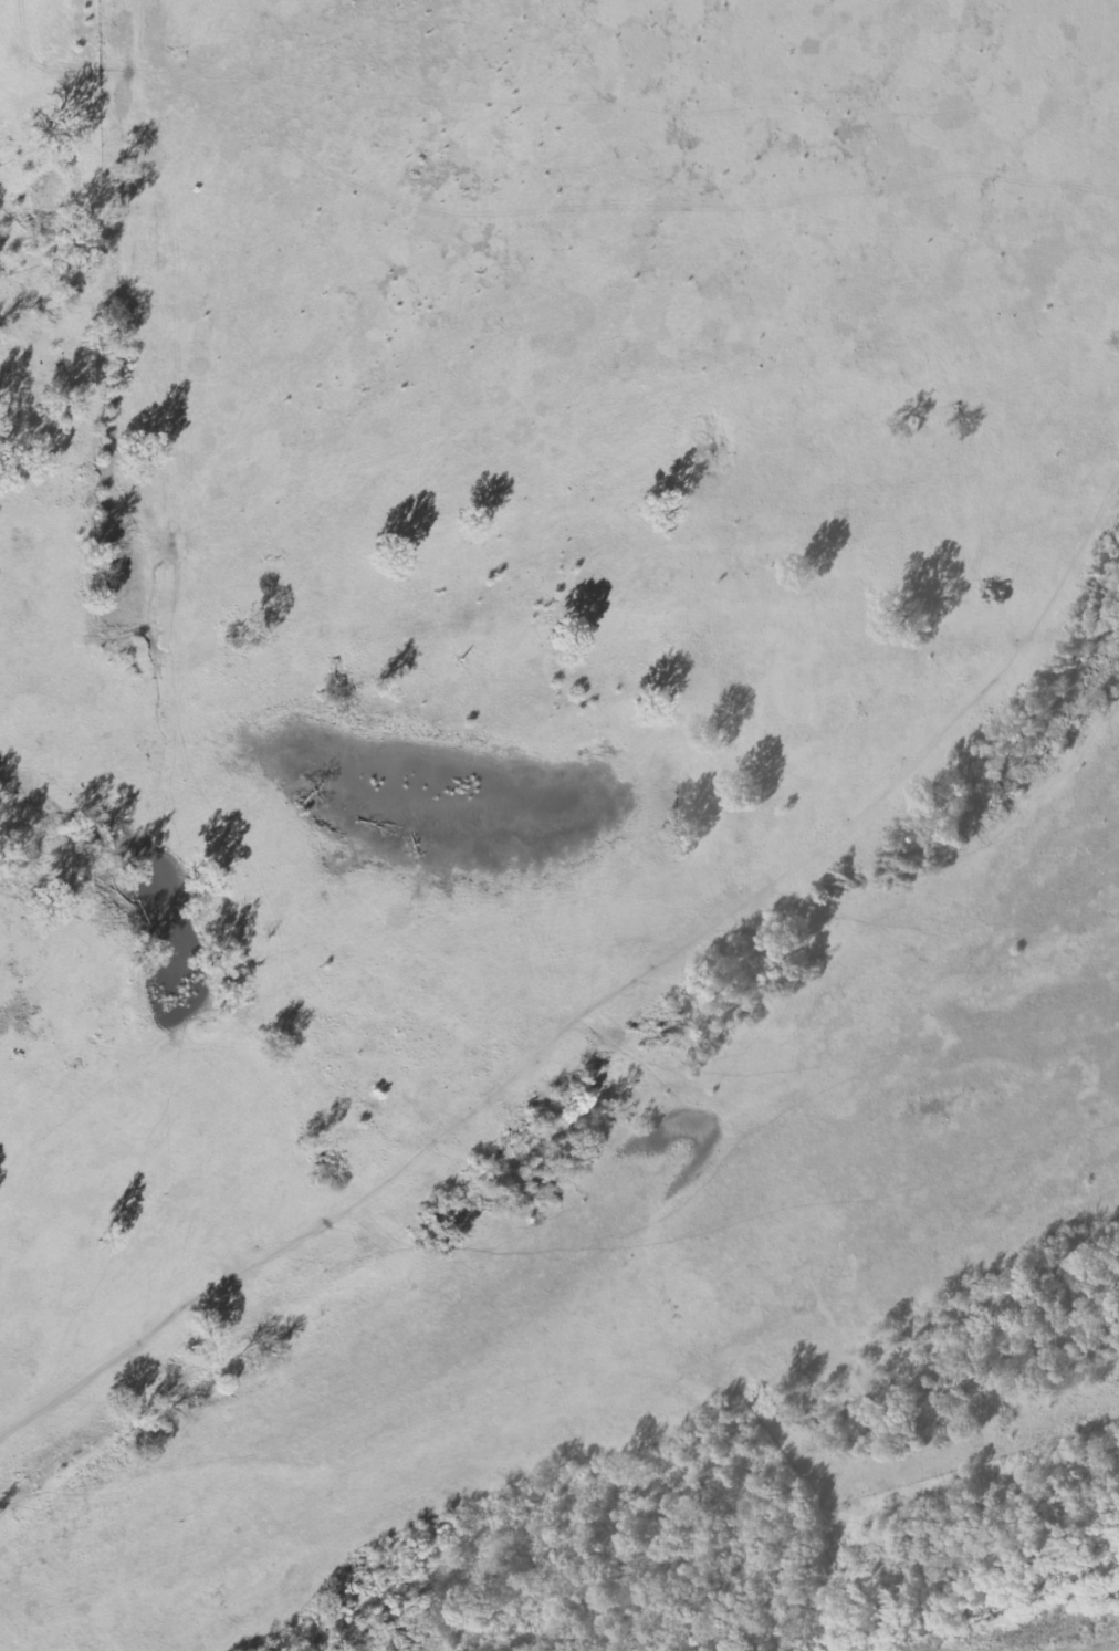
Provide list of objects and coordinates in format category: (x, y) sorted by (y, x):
river: (1115, 1649)

